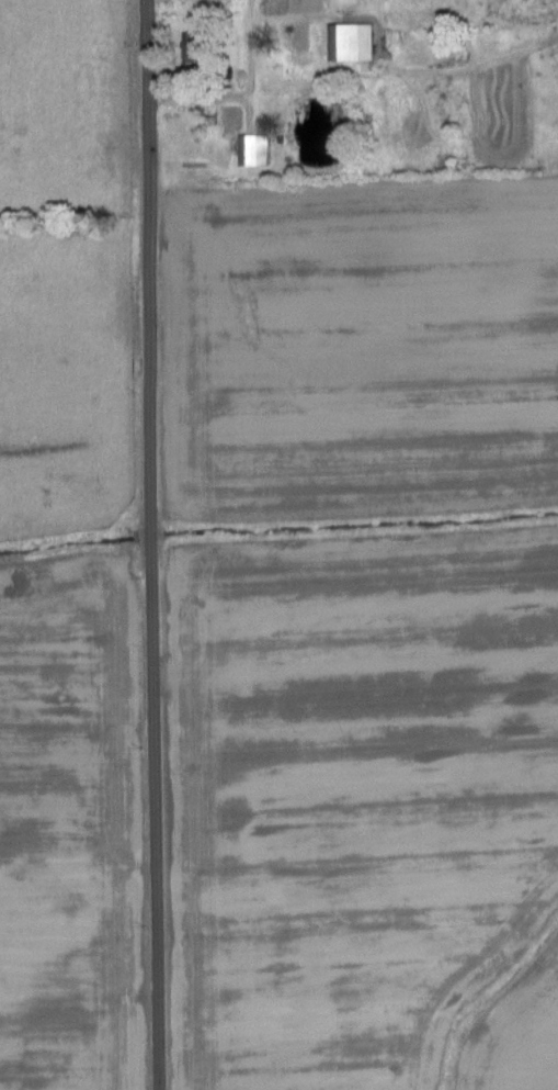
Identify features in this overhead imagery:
building: (351, 44)
building: (253, 150)
road: (150, 544)

